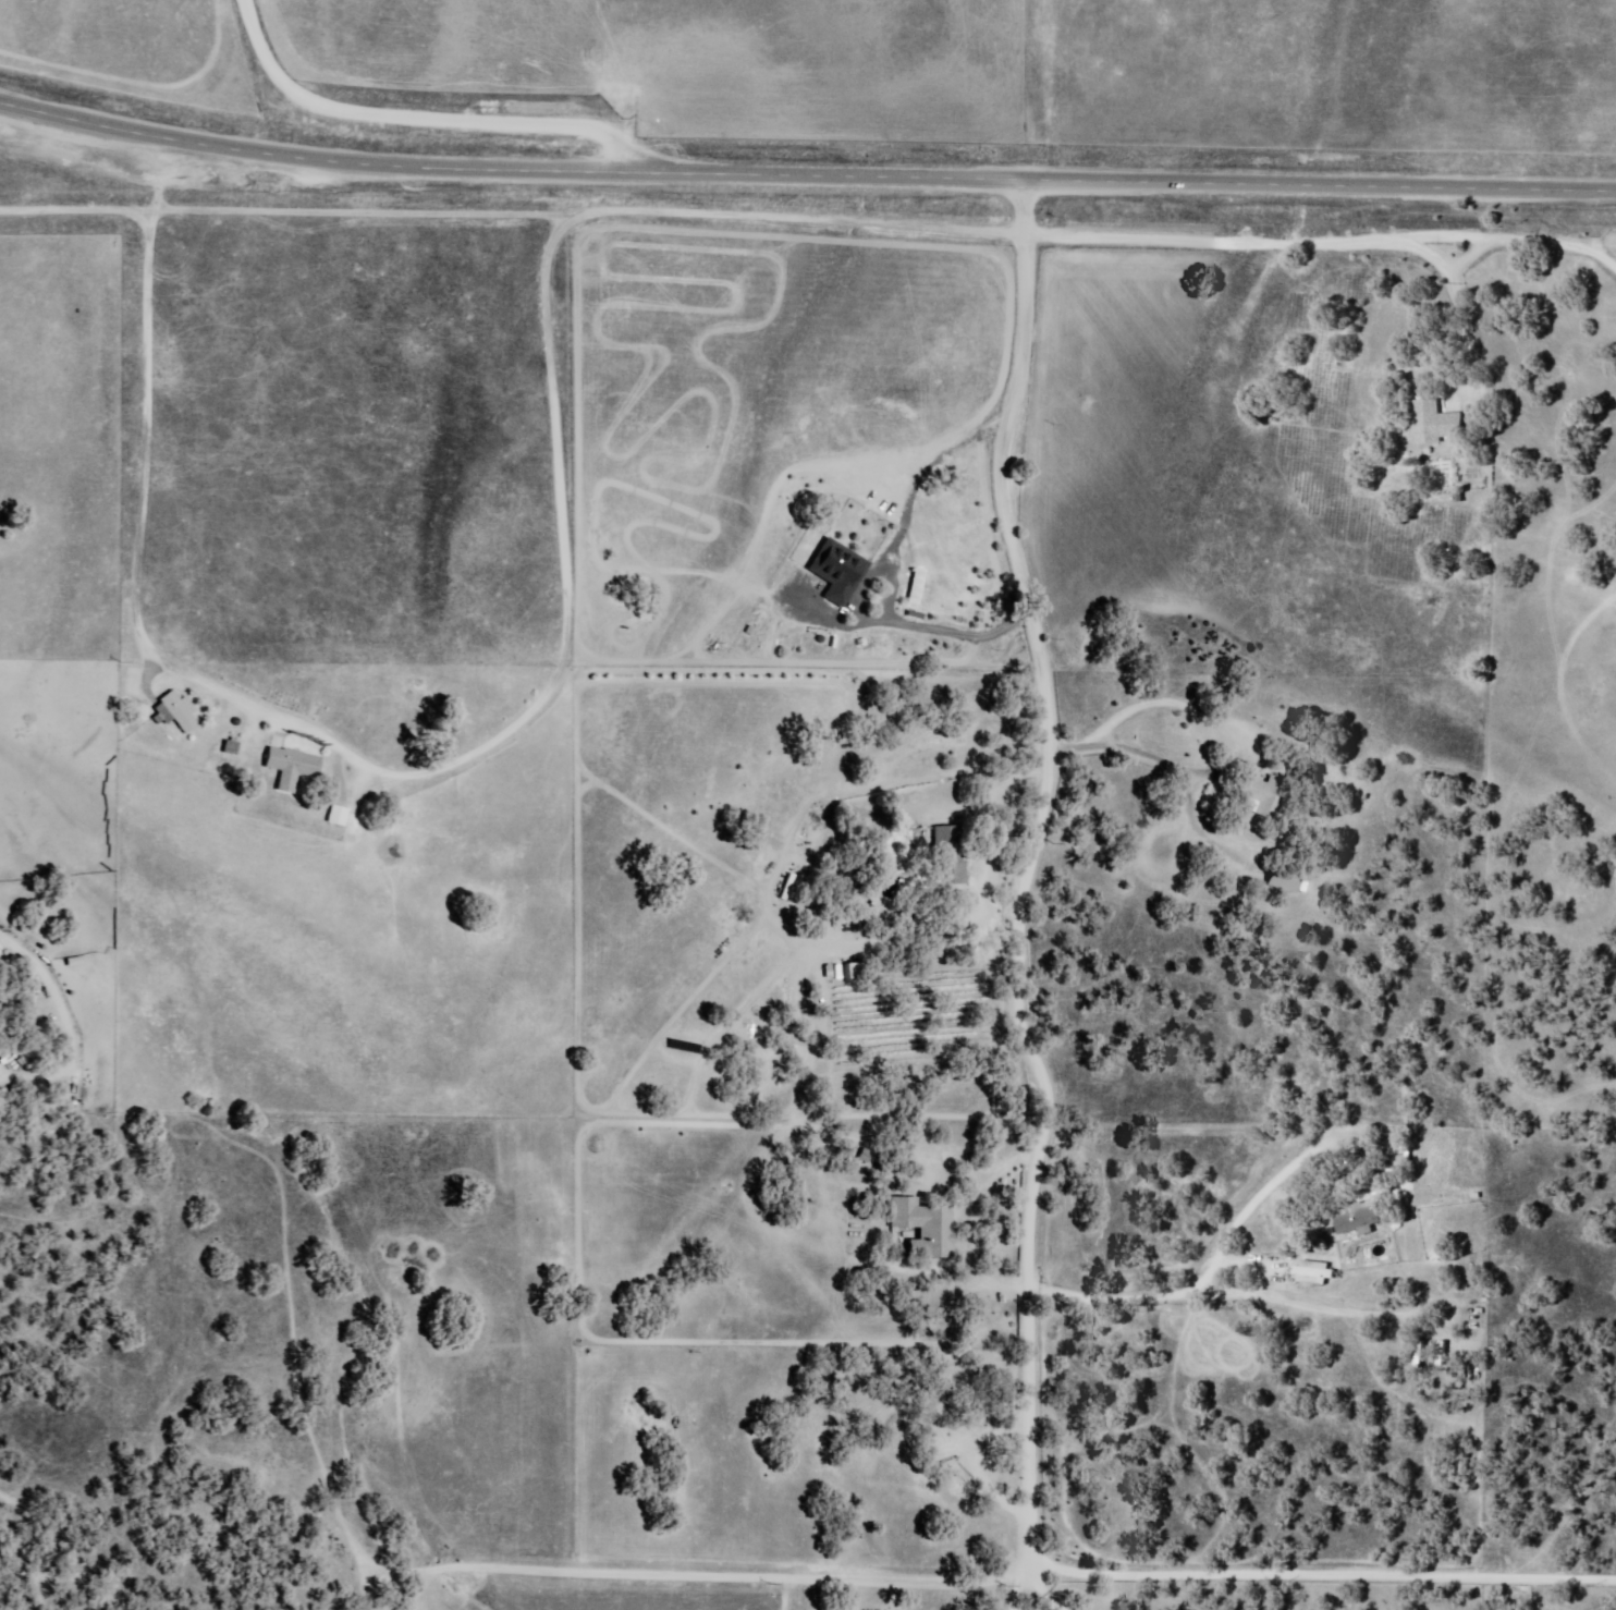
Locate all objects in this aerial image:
road: (805, 180)
road: (808, 216)
building: (1439, 424)
road: (535, 620)
building: (174, 712)
building: (290, 768)
building: (1260, 797)
building: (947, 856)
building: (1281, 881)
building: (874, 887)
building: (850, 973)
road: (1453, 1056)
building: (1360, 1221)
building: (923, 1227)
road: (188, 1237)
building: (1313, 1273)
building: (950, 1451)

